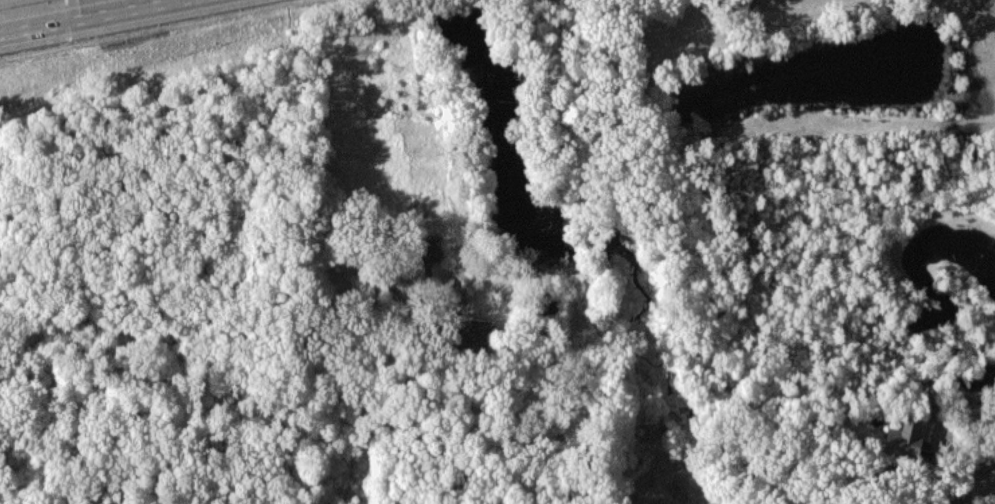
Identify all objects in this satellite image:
road: (90, 16)
building: (428, 250)
road: (451, 435)
building: (906, 437)
road: (964, 465)

